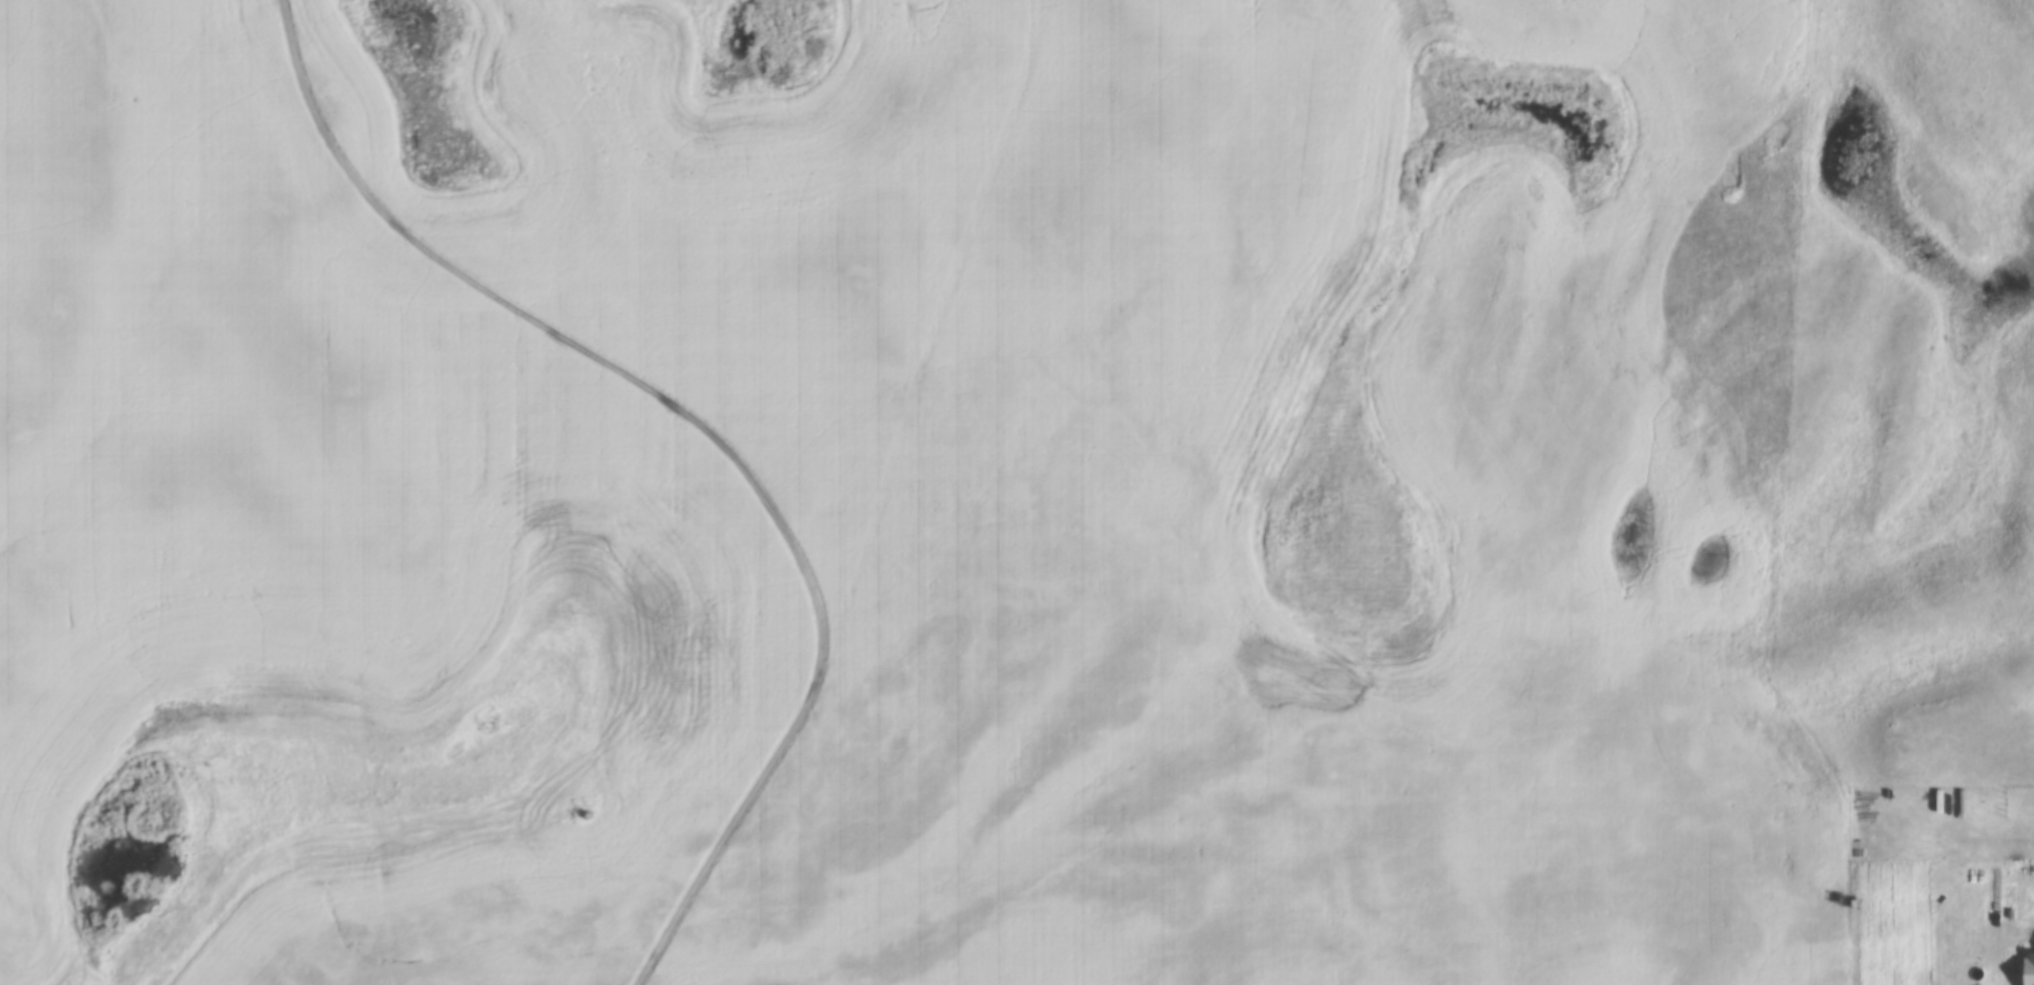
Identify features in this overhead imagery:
road: (289, 511)
building: (2027, 970)

